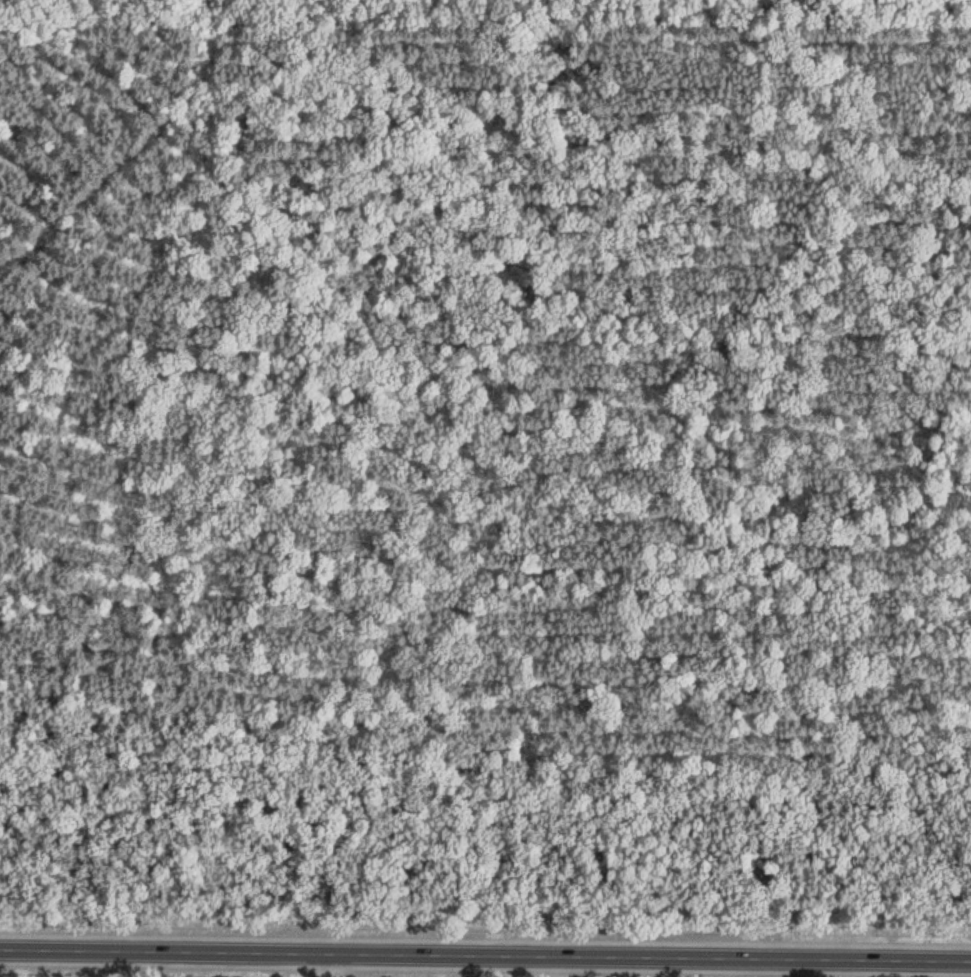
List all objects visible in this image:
road: (71, 79)
road: (485, 953)
road: (315, 964)

